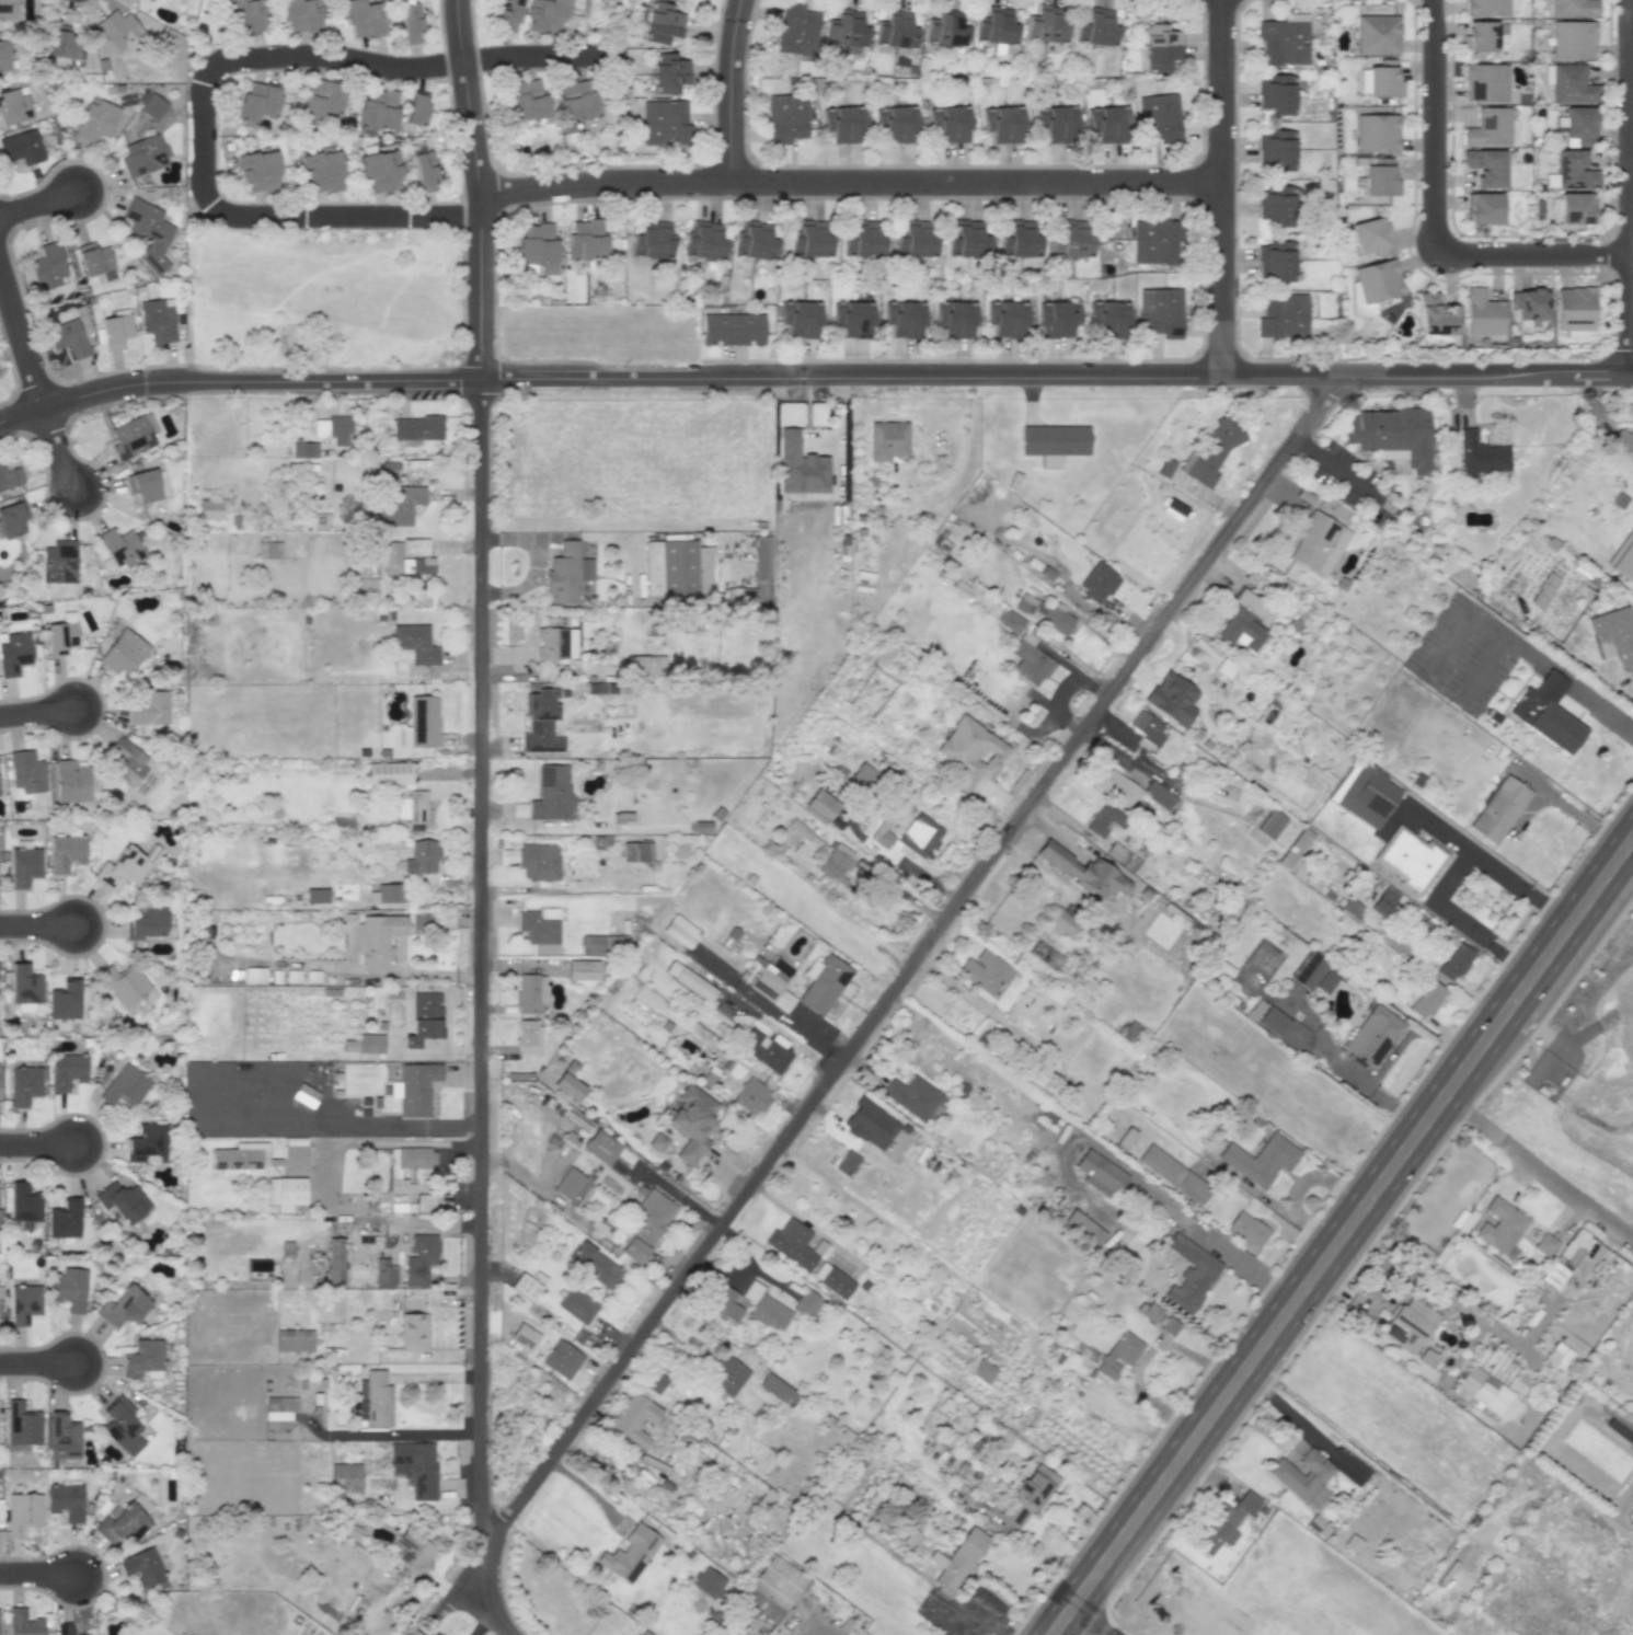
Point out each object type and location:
building: (1486, 7)
building: (1573, 8)
building: (8, 10)
building: (507, 10)
building: (245, 14)
building: (301, 15)
building: (545, 15)
building: (363, 19)
building: (662, 22)
building: (1047, 23)
building: (411, 24)
building: (996, 26)
building: (945, 27)
building: (1097, 27)
building: (796, 28)
building: (846, 30)
building: (895, 30)
building: (119, 31)
building: (1378, 33)
building: (1479, 36)
building: (1285, 38)
building: (1573, 38)
building: (1161, 46)
building: (66, 47)
road: (1631, 55)
building: (3, 56)
street lamp: (1611, 59)
road: (398, 67)
building: (668, 71)
building: (1384, 79)
building: (1485, 81)
building: (1572, 83)
road: (729, 90)
building: (1277, 94)
building: (322, 99)
building: (576, 100)
building: (257, 101)
building: (526, 101)
building: (14, 106)
building: (152, 106)
building: (417, 108)
building: (376, 111)
building: (784, 117)
building: (1159, 117)
building: (95, 120)
building: (841, 123)
building: (895, 123)
building: (950, 123)
building: (1002, 123)
building: (1057, 123)
building: (1108, 123)
building: (1579, 123)
building: (664, 124)
building: (1488, 127)
building: (1378, 133)
building: (22, 148)
building: (1277, 149)
building: (142, 156)
building: (1485, 166)
building: (424, 170)
building: (1573, 170)
building: (260, 171)
building: (380, 171)
road: (847, 181)
building: (1381, 181)
road: (1626, 186)
road: (476, 187)
road: (1218, 187)
road: (37, 203)
building: (1277, 205)
building: (1482, 208)
building: (1576, 208)
road: (288, 216)
road: (1431, 216)
street lamp: (1449, 216)
building: (148, 231)
building: (1372, 235)
building: (809, 239)
building: (915, 239)
building: (966, 239)
building: (1071, 239)
building: (585, 240)
building: (653, 240)
building: (704, 240)
building: (755, 240)
building: (863, 240)
building: (1159, 242)
building: (538, 247)
building: (93, 258)
building: (1277, 261)
building: (47, 266)
building: (1379, 280)
building: (1530, 304)
building: (1574, 308)
building: (1160, 311)
building: (1484, 313)
building: (1108, 316)
building: (1436, 316)
building: (852, 318)
building: (902, 318)
building: (955, 318)
building: (1007, 318)
building: (1284, 318)
building: (801, 319)
building: (1057, 319)
building: (158, 320)
building: (733, 330)
building: (115, 331)
building: (67, 337)
road: (20, 342)
street lamp: (1575, 358)
road: (814, 377)
building: (417, 428)
building: (333, 429)
building: (1396, 433)
building: (133, 436)
building: (887, 440)
building: (1622, 441)
building: (1057, 442)
road: (57, 448)
building: (304, 450)
building: (1211, 450)
building: (1481, 453)
building: (800, 467)
road: (1338, 469)
building: (9, 476)
building: (142, 485)
building: (402, 506)
building: (209, 509)
street lamp: (84, 520)
building: (11, 521)
building: (1319, 543)
building: (122, 548)
building: (269, 550)
building: (404, 557)
building: (1624, 561)
building: (58, 562)
building: (681, 566)
building: (566, 573)
building: (758, 576)
building: (1097, 582)
building: (1044, 612)
building: (1245, 622)
building: (1617, 635)
building: (60, 637)
road: (1520, 643)
building: (554, 644)
building: (412, 646)
building: (1026, 650)
building: (13, 653)
building: (123, 653)
parking lot: (1465, 654)
building: (646, 664)
road: (1480, 667)
building: (149, 709)
road: (36, 710)
building: (1546, 714)
building: (421, 723)
building: (540, 724)
building: (1146, 727)
road: (1124, 737)
building: (969, 751)
building: (125, 760)
building: (26, 772)
building: (389, 773)
building: (861, 776)
road: (1161, 778)
building: (71, 782)
building: (1114, 785)
building: (1366, 791)
building: (552, 793)
building: (1158, 795)
building: (820, 805)
building: (1499, 806)
building: (414, 809)
building: (1104, 820)
building: (1270, 824)
building: (882, 834)
building: (919, 834)
building: (1296, 848)
building: (1114, 851)
building: (66, 852)
building: (635, 852)
building: (1411, 856)
building: (422, 857)
road: (1483, 860)
building: (538, 861)
building: (836, 862)
building: (123, 868)
road: (910, 868)
building: (1083, 871)
building: (383, 894)
building: (317, 896)
building: (1384, 903)
building: (1350, 907)
road: (1560, 909)
road: (1459, 919)
building: (421, 921)
building: (146, 922)
building: (1062, 923)
road: (1568, 923)
road: (36, 924)
building: (538, 928)
building: (680, 931)
building: (378, 937)
road: (1572, 943)
building: (602, 944)
street lamp: (45, 946)
building: (1045, 955)
building: (1454, 963)
road: (481, 964)
building: (582, 969)
building: (985, 971)
building: (1313, 974)
building: (254, 975)
road: (1531, 975)
building: (690, 980)
building: (768, 980)
building: (825, 985)
building: (126, 986)
building: (24, 987)
building: (530, 993)
building: (1427, 999)
building: (64, 1000)
road: (882, 1006)
building: (424, 1018)
road: (794, 1023)
building: (1276, 1024)
building: (1375, 1035)
building: (528, 1037)
building: (370, 1043)
road: (1319, 1043)
building: (768, 1053)
road: (1388, 1059)
building: (0, 1071)
building: (66, 1071)
building: (24, 1084)
building: (125, 1086)
building: (567, 1086)
building: (416, 1087)
traffic signals: (1444, 1094)
building: (751, 1097)
building: (912, 1097)
building: (691, 1121)
street lamp: (44, 1122)
building: (870, 1125)
road: (356, 1141)
building: (147, 1142)
road: (37, 1144)
building: (601, 1147)
building: (1262, 1158)
building: (254, 1159)
building: (847, 1162)
building: (407, 1166)
road: (1538, 1166)
building: (1100, 1174)
building: (1174, 1174)
building: (568, 1184)
building: (286, 1193)
building: (122, 1201)
building: (24, 1205)
building: (65, 1219)
building: (647, 1225)
building: (1500, 1225)
road: (725, 1228)
building: (1249, 1229)
building: (1544, 1244)
building: (792, 1245)
building: (1569, 1253)
building: (419, 1259)
building: (335, 1260)
road: (1356, 1264)
building: (595, 1265)
road: (1247, 1268)
building: (384, 1274)
building: (1189, 1275)
building: (832, 1280)
road: (1379, 1286)
building: (525, 1287)
building: (69, 1289)
building: (24, 1303)
building: (806, 1303)
building: (577, 1305)
building: (748, 1306)
building: (124, 1308)
building: (1410, 1324)
road: (1277, 1325)
building: (1169, 1326)
building: (413, 1332)
building: (524, 1336)
building: (294, 1340)
road: (1516, 1340)
building: (1119, 1354)
building: (142, 1357)
road: (1141, 1357)
building: (1427, 1358)
building: (562, 1359)
road: (36, 1362)
building: (727, 1375)
road: (435, 1377)
building: (656, 1379)
street lamp: (44, 1383)
building: (775, 1389)
building: (1482, 1392)
building: (1539, 1396)
building: (375, 1398)
road: (1287, 1407)
building: (278, 1412)
building: (634, 1419)
building: (122, 1426)
building: (22, 1427)
road: (401, 1433)
building: (61, 1436)
road: (1354, 1442)
building: (414, 1467)
building: (346, 1477)
building: (1304, 1477)
building: (1031, 1493)
building: (66, 1501)
building: (23, 1513)
building: (1224, 1522)
building: (120, 1523)
building: (1632, 1523)
building: (347, 1530)
road: (1042, 1552)
building: (414, 1553)
building: (630, 1554)
building: (961, 1559)
building: (141, 1567)
road: (36, 1573)
building: (708, 1582)
road: (13, 1587)
building: (773, 1588)
street lamp: (103, 1589)
road: (479, 1615)
road: (1091, 1621)
building: (23, 1623)
building: (65, 1628)

